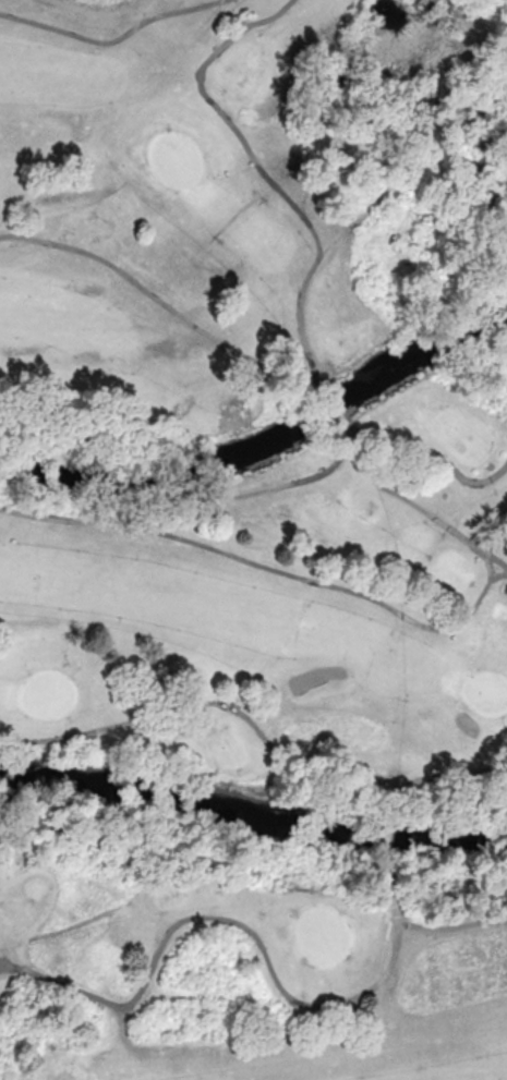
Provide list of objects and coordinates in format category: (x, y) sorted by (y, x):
road: (112, 39)
road: (412, 159)
road: (263, 172)
road: (161, 302)
road: (331, 404)
river: (266, 444)
road: (329, 465)
road: (413, 505)
park: (253, 539)
road: (486, 561)
road: (268, 568)
road: (208, 701)
road: (439, 774)
river: (252, 818)
road: (386, 834)
road: (215, 918)
road: (421, 925)

